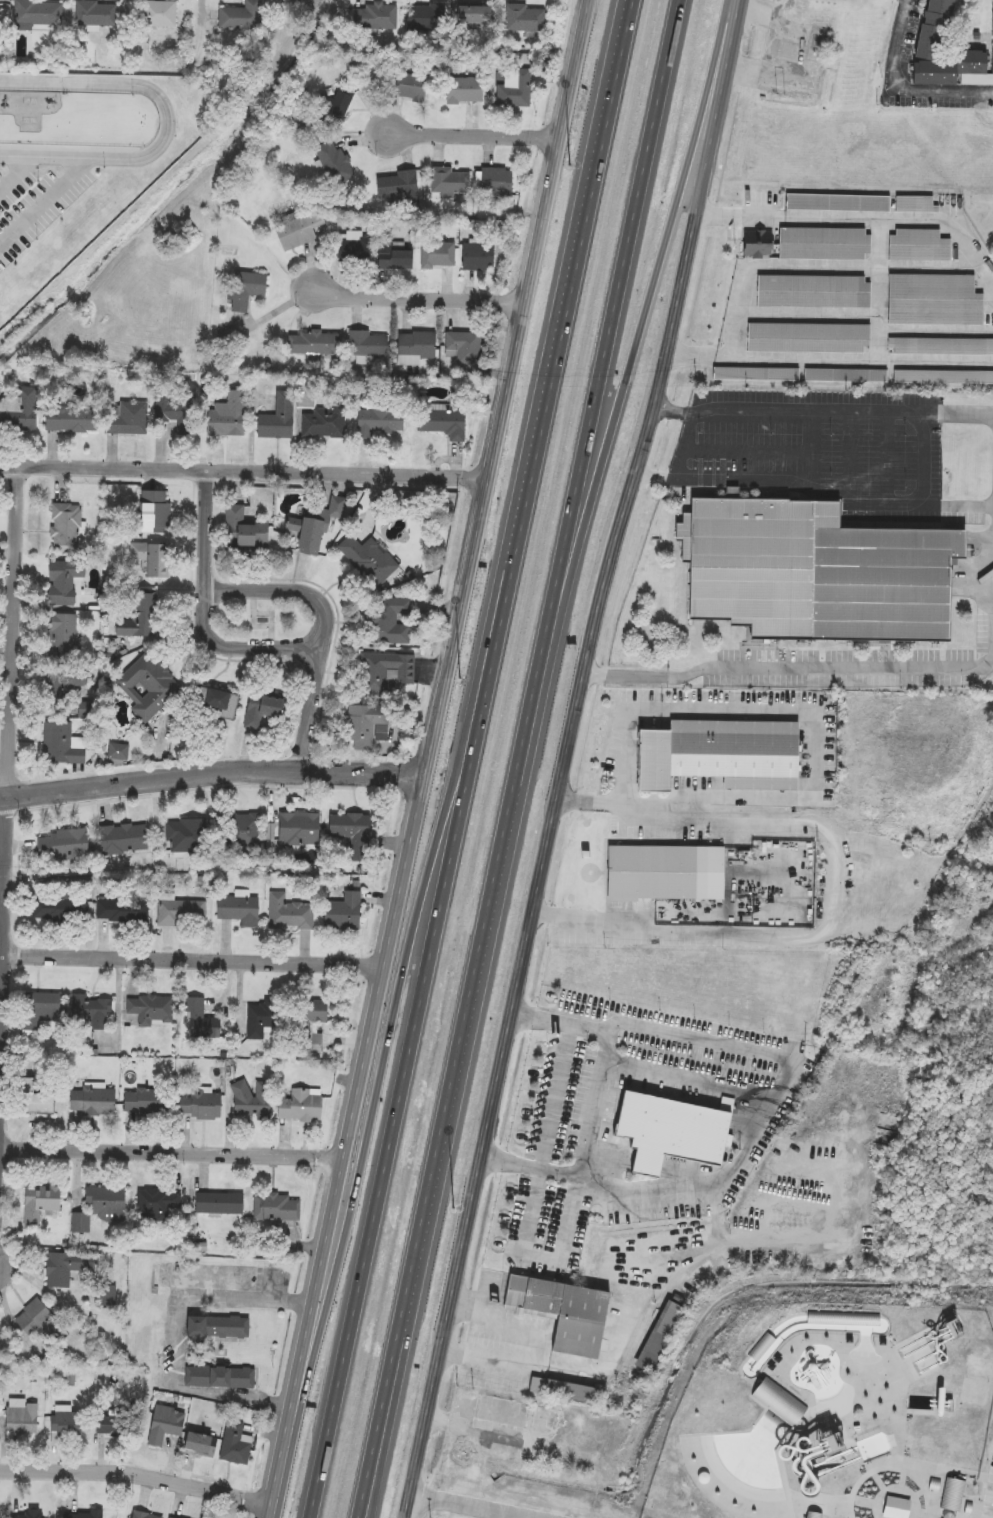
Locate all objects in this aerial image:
building: (37, 12)
building: (95, 14)
building: (154, 14)
building: (241, 17)
building: (374, 17)
building: (427, 17)
building: (473, 17)
building: (524, 19)
road: (205, 35)
building: (820, 43)
building: (944, 53)
building: (410, 87)
road: (901, 88)
building: (514, 90)
building: (462, 92)
building: (333, 108)
road: (167, 119)
road: (473, 134)
building: (335, 163)
street lamp: (571, 166)
road: (15, 171)
building: (449, 182)
building: (496, 182)
building: (398, 187)
road: (43, 200)
building: (837, 202)
building: (915, 204)
parking lot: (35, 205)
road: (857, 219)
building: (298, 228)
building: (756, 243)
building: (823, 243)
building: (918, 246)
building: (354, 247)
building: (438, 254)
building: (478, 257)
building: (394, 258)
road: (574, 270)
building: (244, 289)
building: (813, 292)
road: (417, 298)
building: (934, 301)
building: (808, 338)
building: (314, 343)
building: (368, 344)
building: (415, 347)
building: (463, 347)
building: (941, 347)
road: (828, 358)
building: (756, 374)
road: (600, 375)
building: (845, 376)
building: (943, 378)
building: (174, 409)
building: (19, 410)
road: (875, 410)
road: (731, 411)
road: (965, 414)
building: (227, 416)
building: (125, 418)
building: (278, 418)
building: (69, 419)
building: (319, 419)
building: (378, 420)
building: (441, 423)
road: (620, 425)
road: (685, 446)
road: (812, 446)
road: (748, 448)
road: (851, 454)
road: (887, 457)
road: (924, 459)
road: (243, 466)
building: (949, 475)
road: (721, 481)
road: (873, 503)
road: (966, 506)
building: (153, 511)
building: (316, 524)
building: (237, 527)
building: (66, 528)
building: (149, 559)
building: (368, 559)
road: (292, 572)
building: (814, 573)
building: (66, 581)
road: (323, 584)
road: (205, 609)
building: (140, 615)
road: (252, 615)
fountain: (261, 617)
road: (191, 618)
street lamp: (243, 618)
street lamp: (278, 618)
road: (271, 619)
building: (389, 620)
road: (327, 625)
building: (66, 636)
building: (384, 673)
road: (790, 674)
street lamp: (460, 679)
building: (64, 680)
building: (148, 687)
building: (215, 702)
road: (772, 707)
building: (259, 711)
building: (363, 725)
road: (625, 735)
building: (62, 744)
building: (117, 753)
road: (565, 758)
building: (722, 758)
road: (430, 759)
road: (10, 760)
road: (117, 767)
road: (213, 767)
road: (11, 778)
road: (184, 788)
road: (793, 798)
road: (649, 806)
road: (8, 809)
building: (297, 828)
building: (349, 829)
building: (243, 831)
building: (186, 835)
building: (123, 839)
building: (64, 845)
building: (667, 871)
building: (62, 909)
building: (238, 910)
building: (122, 912)
building: (289, 912)
building: (342, 912)
building: (181, 914)
road: (777, 938)
road: (408, 941)
road: (195, 958)
building: (45, 1010)
building: (150, 1010)
building: (94, 1013)
building: (258, 1020)
building: (311, 1020)
building: (200, 1021)
road: (415, 1029)
road: (456, 1061)
road: (693, 1086)
building: (251, 1100)
building: (45, 1101)
building: (96, 1101)
building: (144, 1102)
building: (298, 1104)
building: (199, 1106)
road: (770, 1118)
building: (667, 1131)
road: (172, 1148)
railway: (778, 1148)
building: (821, 1182)
building: (754, 1187)
building: (103, 1199)
building: (36, 1202)
building: (156, 1203)
building: (219, 1203)
building: (275, 1207)
street lamp: (451, 1208)
building: (879, 1216)
building: (813, 1222)
road: (548, 1258)
building: (809, 1266)
building: (64, 1267)
building: (107, 1296)
building: (562, 1312)
road: (634, 1321)
building: (40, 1322)
building: (215, 1327)
road: (176, 1331)
building: (658, 1338)
road: (533, 1348)
building: (219, 1376)
building: (559, 1390)
building: (778, 1405)
building: (499, 1411)
water park: (825, 1411)
building: (20, 1420)
building: (542, 1420)
building: (117, 1422)
building: (166, 1424)
building: (66, 1425)
building: (201, 1443)
building: (235, 1444)
road: (374, 1444)
road: (379, 1444)
road: (112, 1457)
road: (137, 1471)
building: (493, 1475)
parking lot: (987, 1493)
building: (950, 1500)
road: (457, 1506)
building: (895, 1510)
building: (31, 1513)
building: (81, 1515)
building: (143, 1515)
building: (459, 1516)
building: (170, 1517)
building: (810, 1517)

